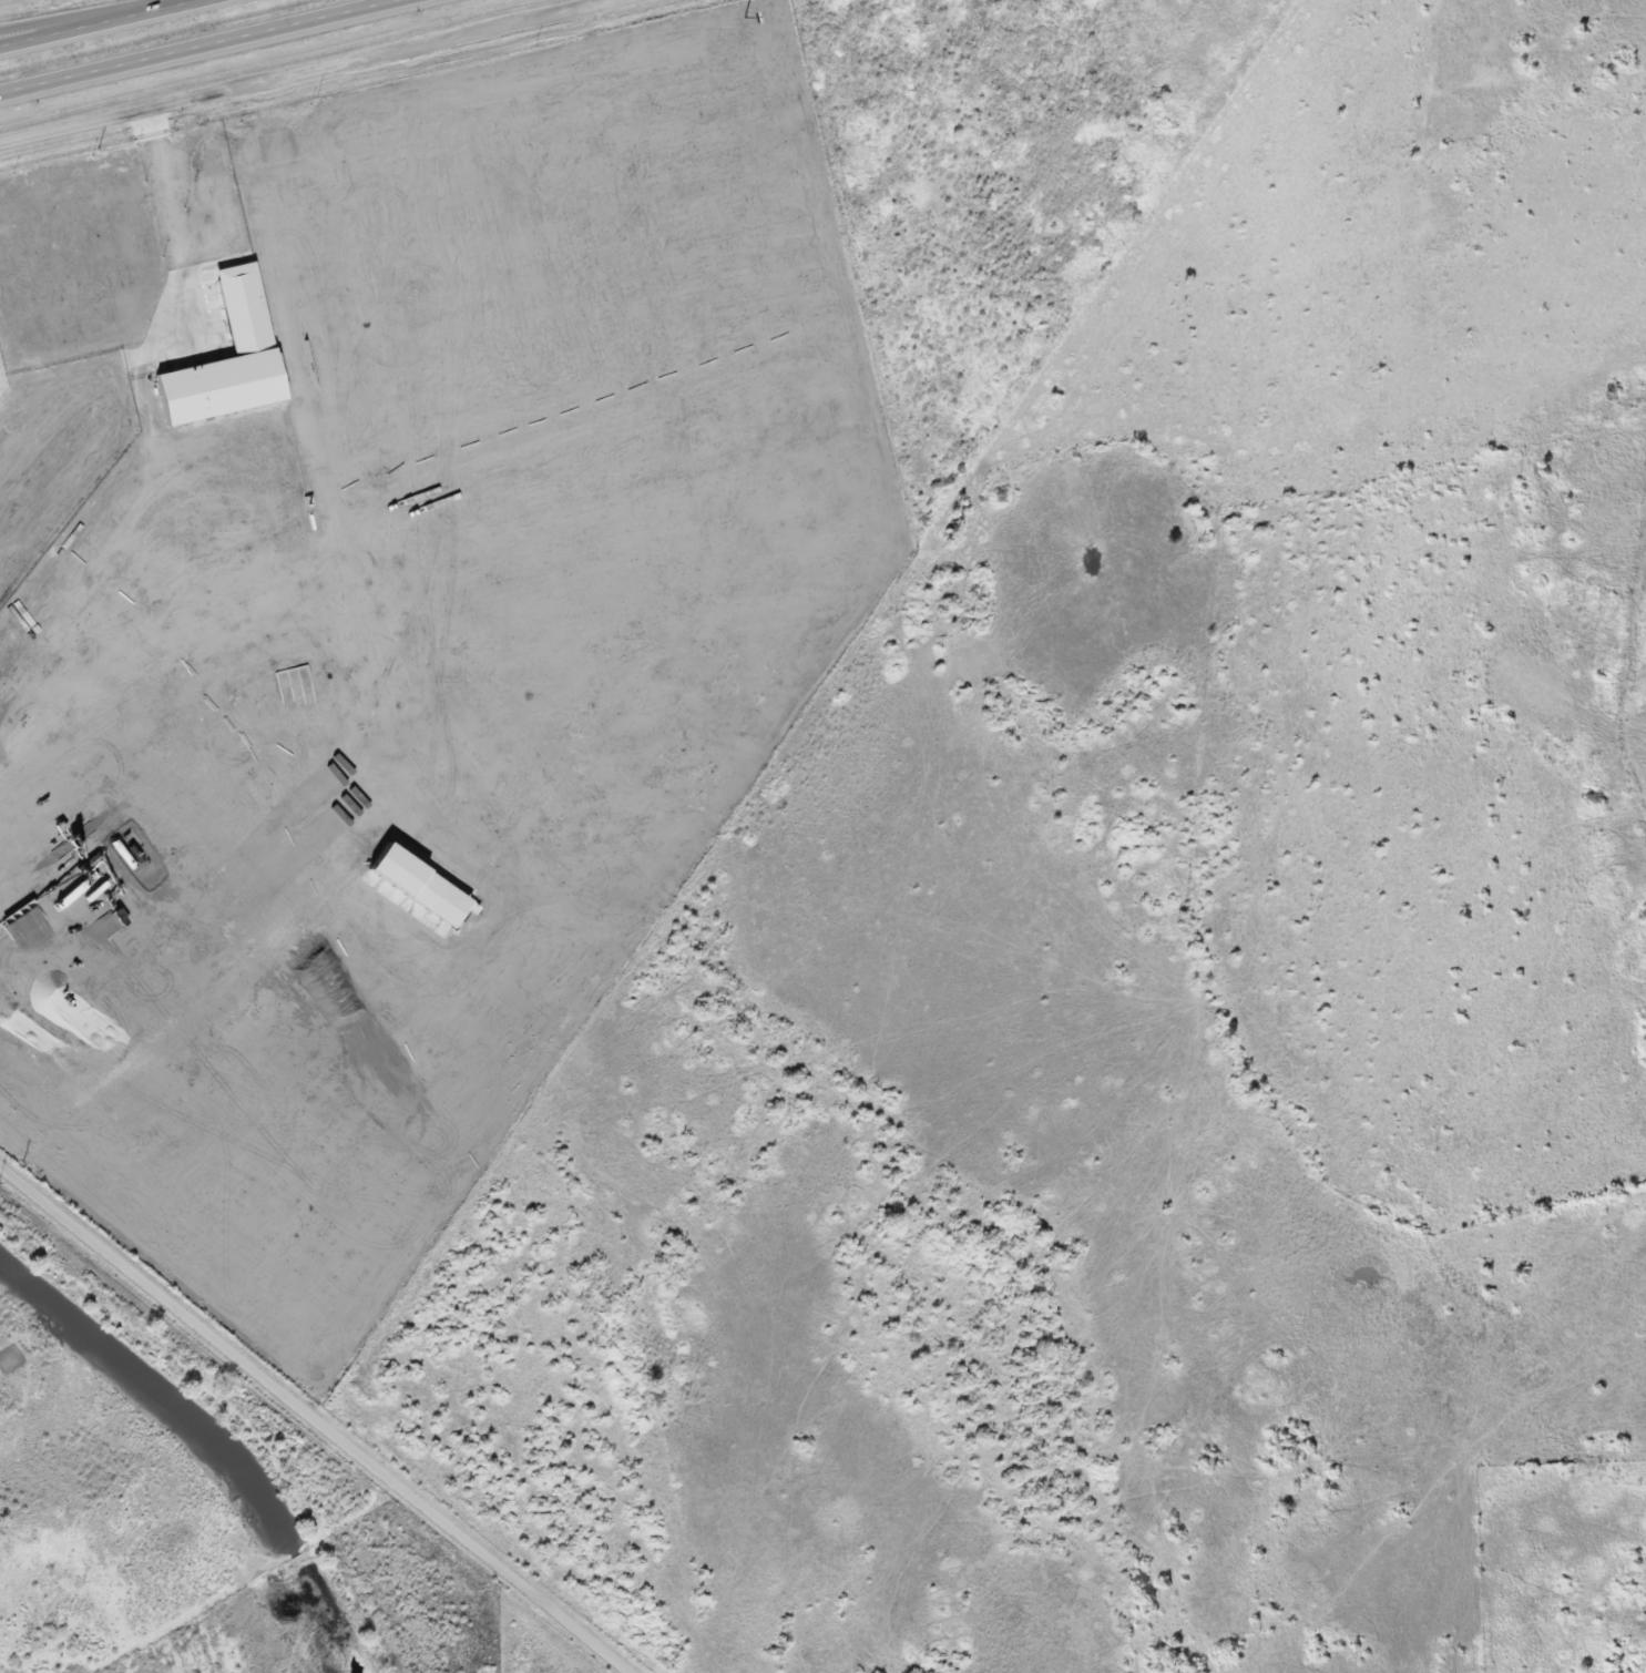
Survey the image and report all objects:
road: (99, 22)
road: (18, 40)
road: (202, 47)
road: (305, 70)
building: (246, 314)
building: (423, 891)
road: (316, 1418)

